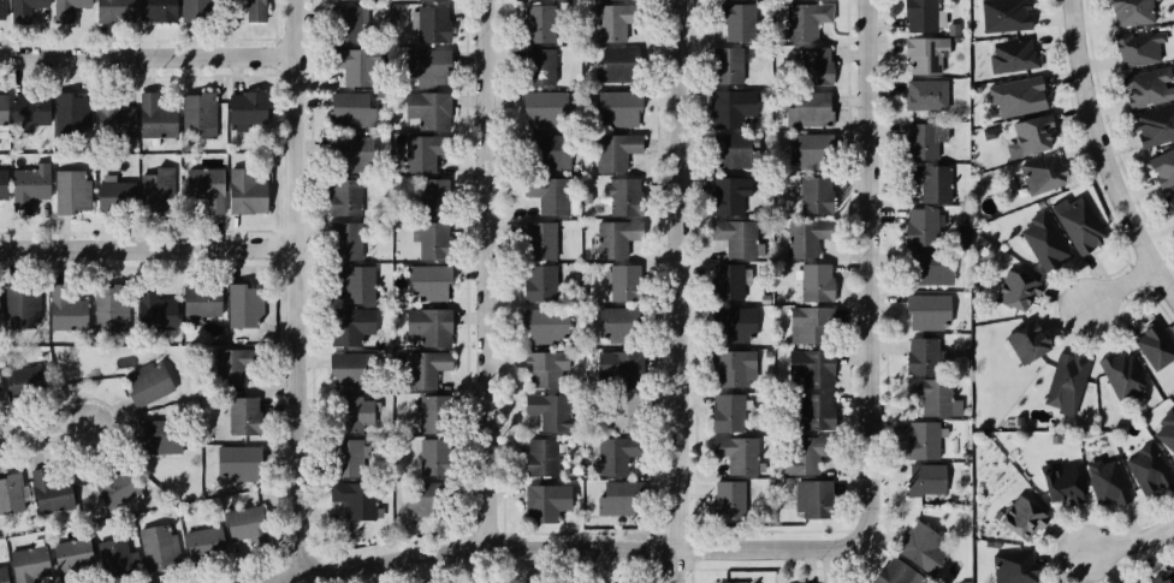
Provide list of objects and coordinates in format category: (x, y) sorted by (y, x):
building: (343, 0)
building: (440, 0)
building: (30, 7)
building: (71, 7)
building: (117, 7)
building: (248, 7)
building: (1, 8)
building: (155, 8)
building: (194, 8)
building: (1128, 11)
building: (917, 14)
building: (1004, 14)
building: (733, 20)
building: (805, 20)
building: (609, 22)
building: (432, 23)
building: (540, 23)
building: (346, 24)
building: (1138, 49)
road: (149, 54)
building: (921, 54)
building: (1013, 55)
building: (423, 64)
building: (540, 64)
building: (355, 65)
building: (724, 65)
building: (612, 66)
building: (813, 66)
building: (1143, 89)
building: (1016, 94)
building: (926, 95)
building: (540, 106)
building: (1, 107)
building: (616, 107)
building: (729, 107)
building: (28, 108)
building: (69, 109)
building: (348, 109)
building: (427, 109)
building: (805, 109)
building: (244, 111)
building: (195, 114)
building: (152, 117)
building: (113, 119)
building: (1155, 125)
building: (1033, 132)
building: (920, 141)
building: (615, 149)
building: (549, 150)
building: (731, 150)
building: (804, 151)
building: (417, 153)
building: (346, 155)
road: (1101, 155)
building: (1162, 163)
building: (1044, 173)
building: (929, 182)
building: (1, 184)
building: (26, 186)
building: (156, 186)
building: (204, 188)
building: (70, 191)
building: (243, 191)
building: (114, 194)
building: (549, 194)
building: (814, 195)
building: (433, 196)
building: (725, 196)
building: (344, 197)
building: (622, 197)
building: (1169, 204)
building: (1077, 221)
building: (920, 227)
building: (740, 238)
building: (1044, 238)
building: (432, 239)
building: (541, 239)
building: (606, 239)
building: (801, 239)
building: (344, 240)
road: (152, 246)
road: (870, 264)
building: (927, 268)
road: (496, 274)
building: (429, 280)
building: (623, 281)
building: (728, 281)
building: (816, 281)
building: (539, 282)
road: (304, 286)
building: (358, 286)
road: (1113, 286)
building: (1010, 290)
road: (678, 291)
building: (17, 301)
building: (200, 302)
building: (242, 302)
building: (65, 308)
building: (112, 308)
building: (152, 308)
building: (925, 311)
building: (731, 322)
building: (612, 323)
building: (349, 325)
building: (545, 325)
building: (801, 325)
building: (428, 326)
building: (1028, 341)
building: (1155, 344)
building: (921, 355)
building: (231, 368)
building: (426, 368)
building: (542, 368)
building: (730, 368)
building: (811, 368)
building: (346, 369)
building: (611, 370)
building: (24, 374)
building: (1121, 374)
building: (144, 382)
building: (1066, 382)
building: (0, 386)
building: (933, 395)
building: (812, 410)
building: (550, 411)
building: (350, 412)
building: (434, 412)
building: (622, 412)
building: (725, 412)
building: (241, 415)
building: (1028, 423)
building: (1168, 429)
road: (41, 432)
building: (155, 435)
building: (921, 440)
building: (735, 453)
building: (804, 454)
building: (433, 456)
building: (541, 456)
building: (613, 456)
building: (343, 457)
building: (233, 462)
building: (1145, 468)
building: (927, 480)
building: (1104, 480)
building: (1060, 484)
building: (117, 487)
building: (8, 489)
building: (47, 492)
building: (729, 492)
building: (419, 498)
building: (612, 498)
building: (812, 498)
building: (357, 499)
building: (544, 500)
building: (1021, 516)
building: (242, 523)
building: (204, 543)
road: (1127, 545)
building: (155, 546)
building: (920, 547)
road: (570, 548)
building: (112, 553)
building: (71, 557)
building: (29, 563)
building: (1014, 565)
building: (896, 573)
building: (4, 576)
building: (1166, 578)
building: (735, 582)
building: (965, 582)
building: (1144, 582)

